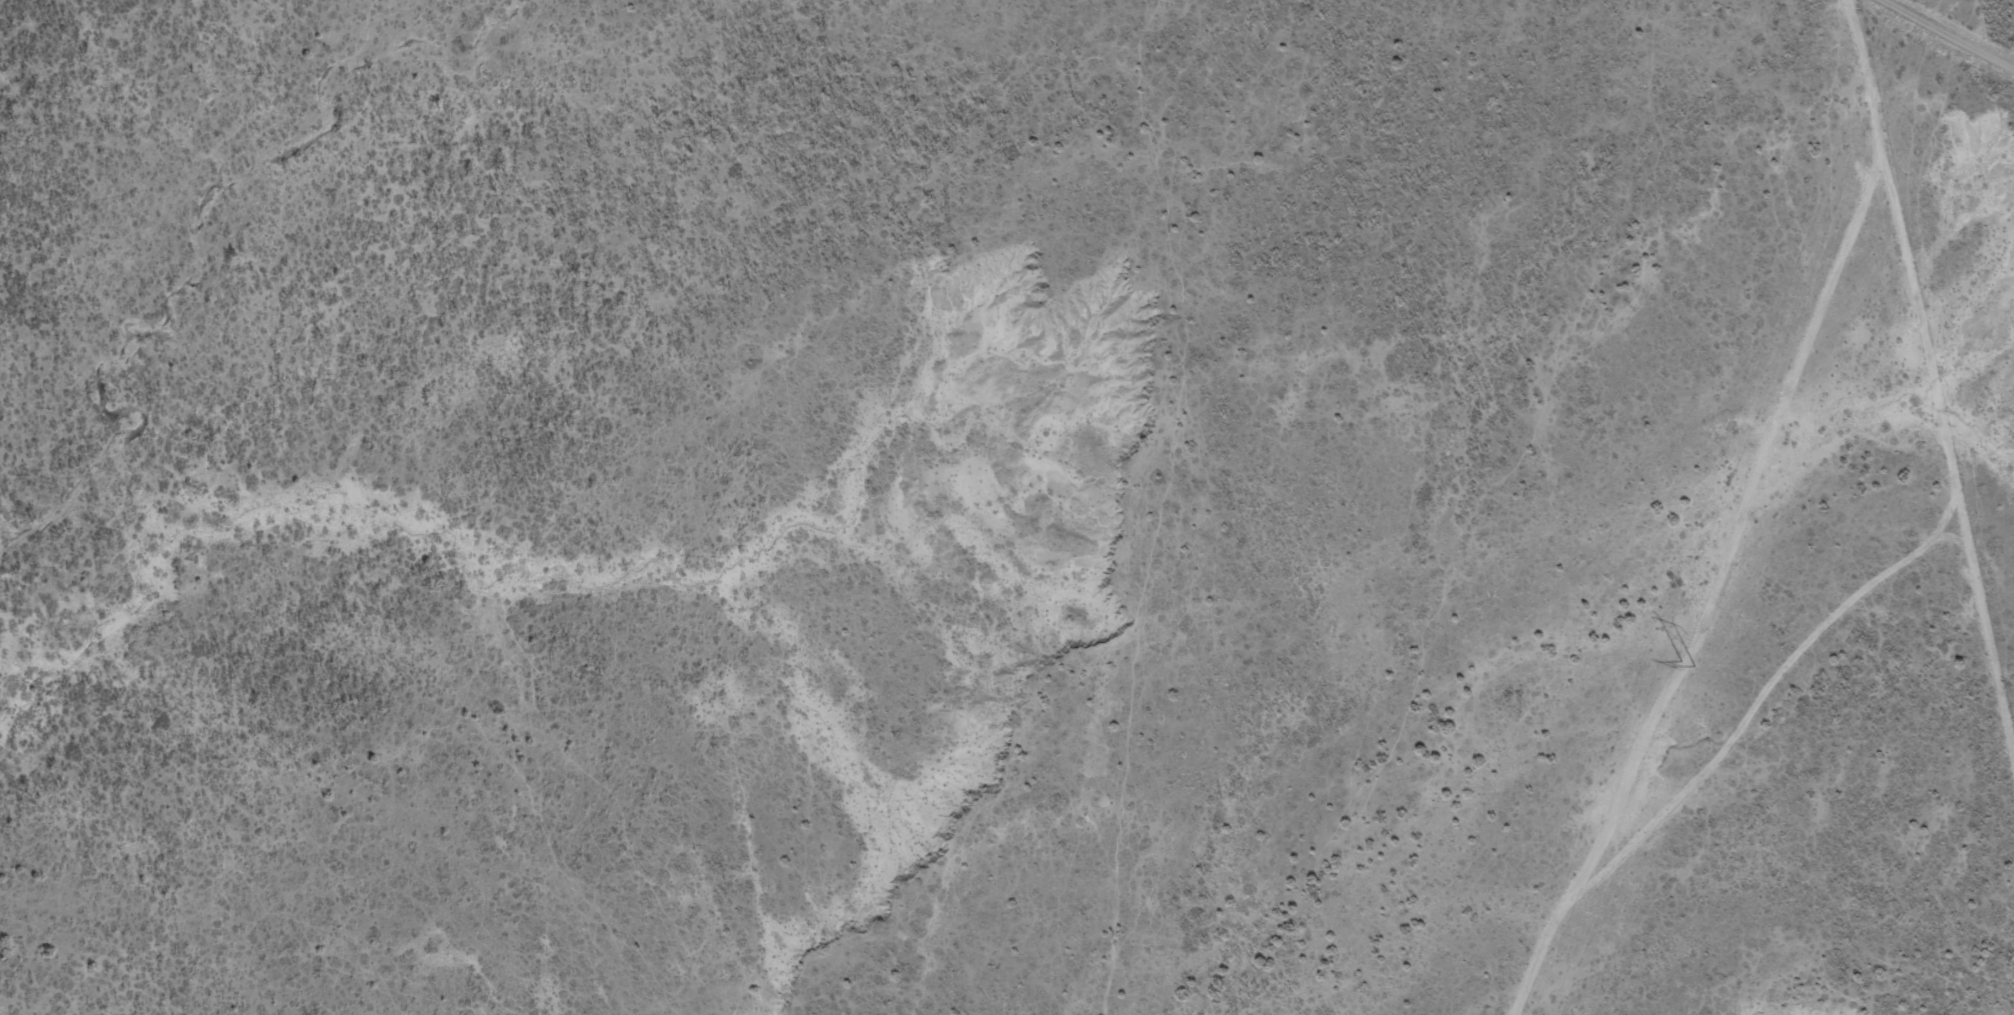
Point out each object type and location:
road: (1930, 48)
power tower: (1683, 667)

